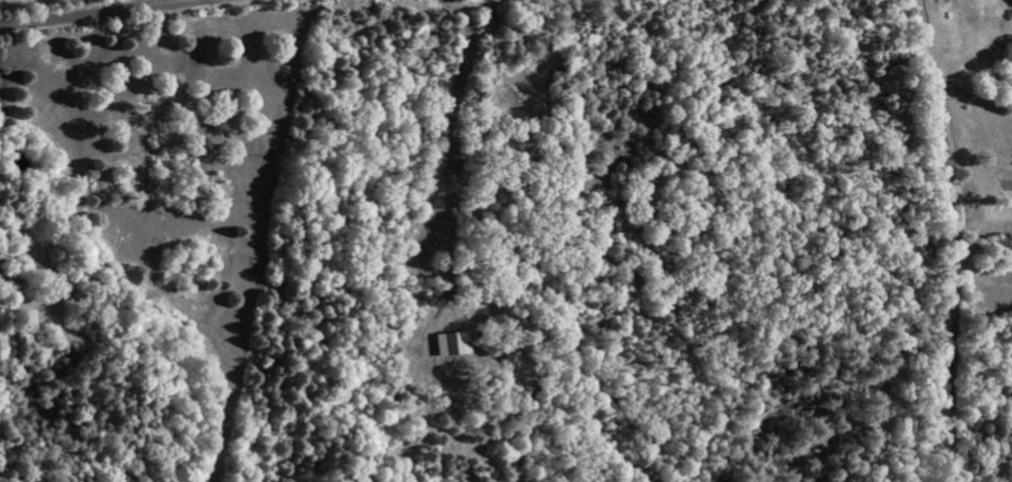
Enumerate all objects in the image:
road: (96, 13)
road: (951, 241)
building: (454, 343)

